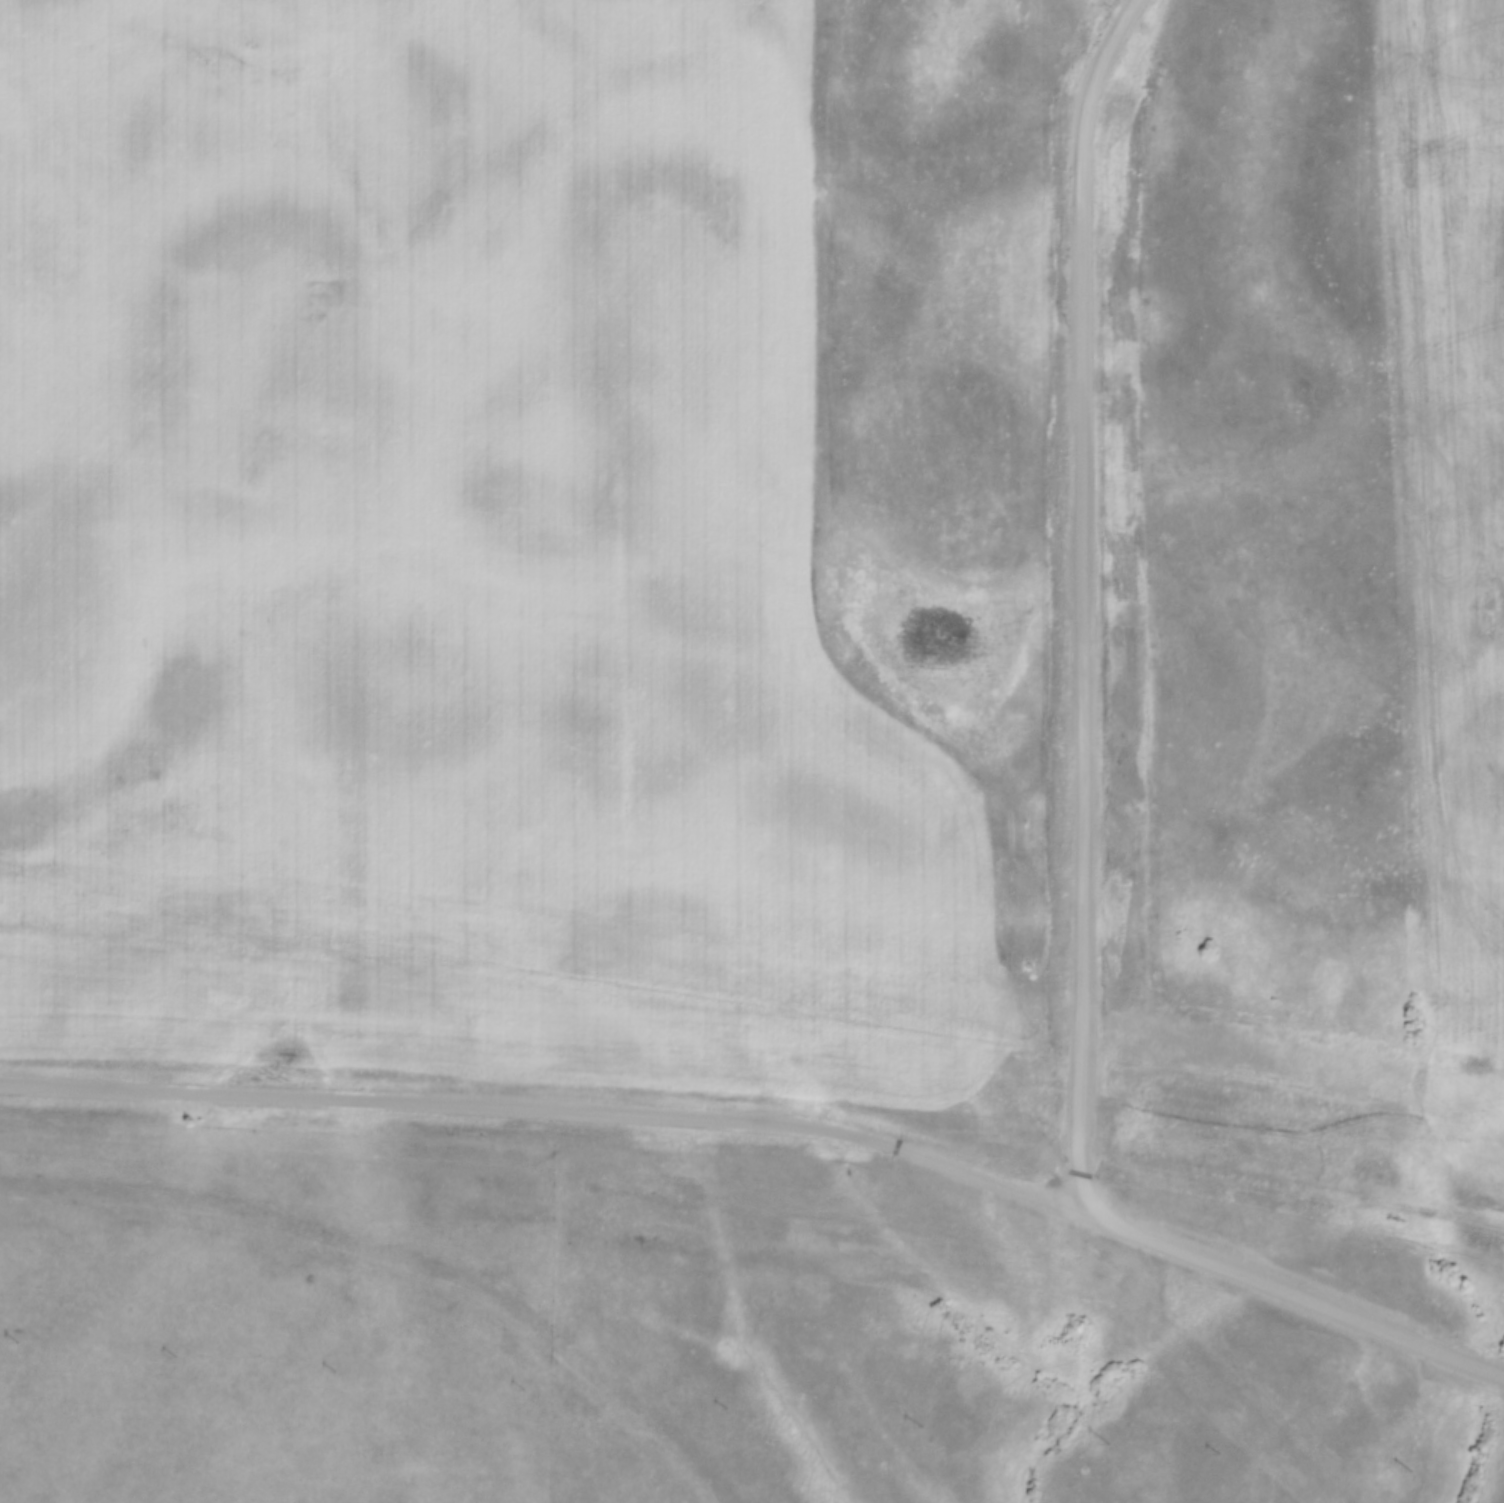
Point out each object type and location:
road: (772, 1127)
road: (1231, 1179)

